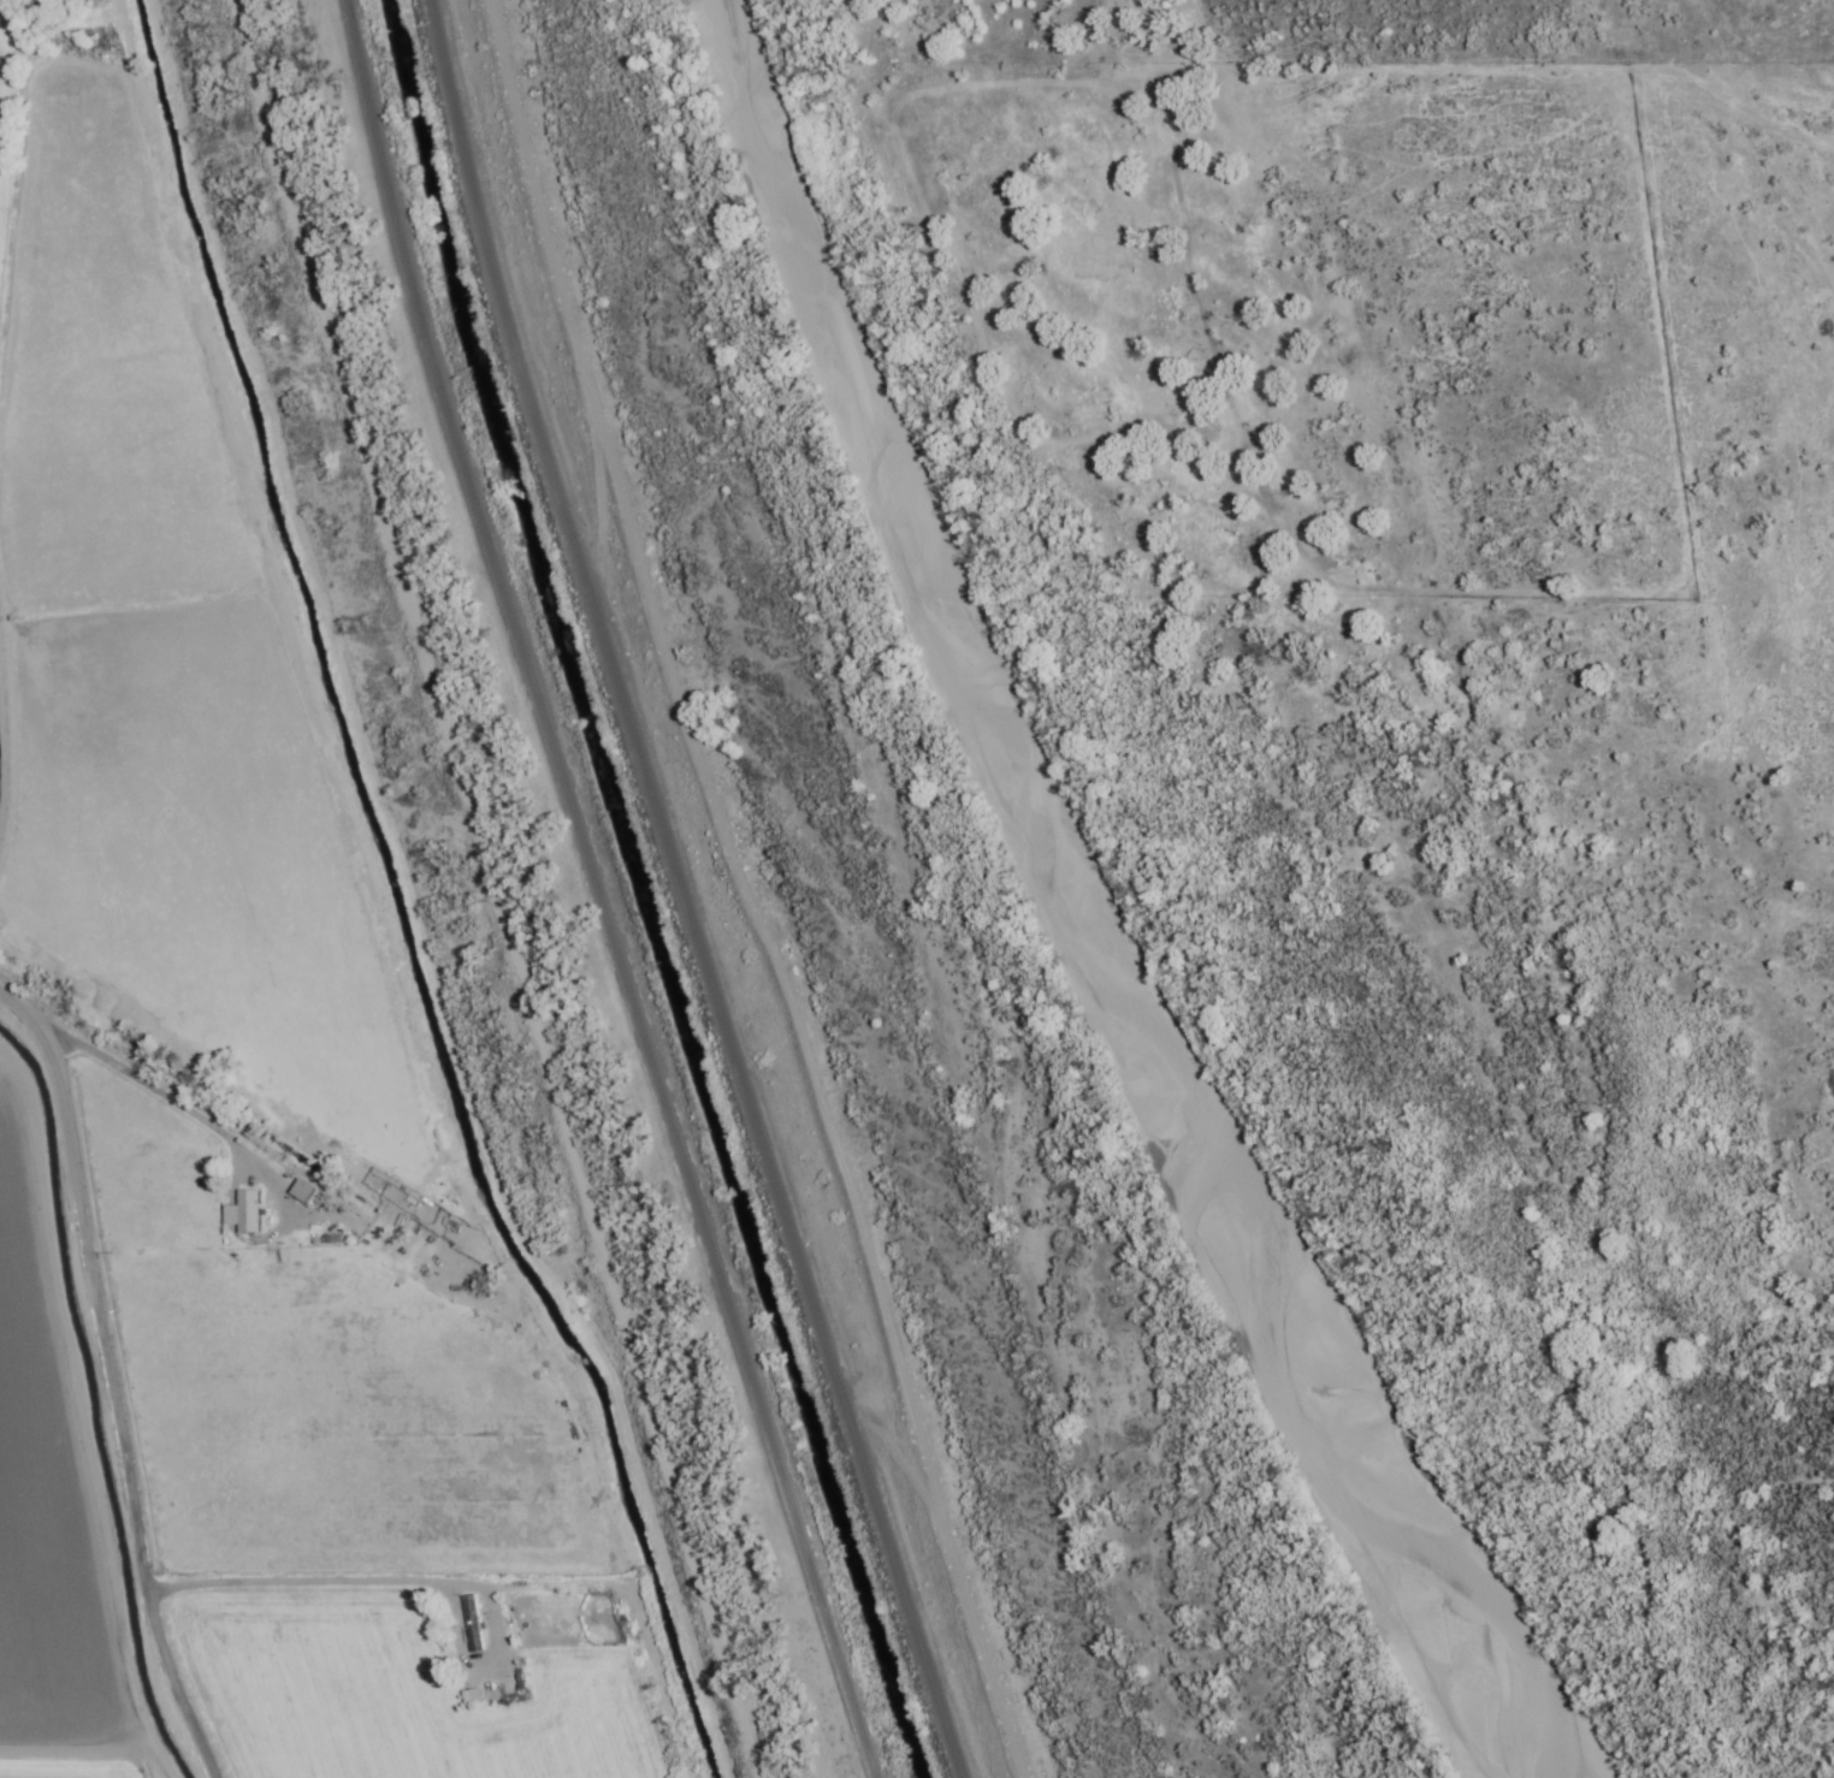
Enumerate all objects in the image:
road: (601, 890)
road: (729, 899)
river: (1061, 911)
building: (302, 1192)
building: (242, 1214)
road: (116, 1387)
building: (472, 1625)
building: (471, 1699)

